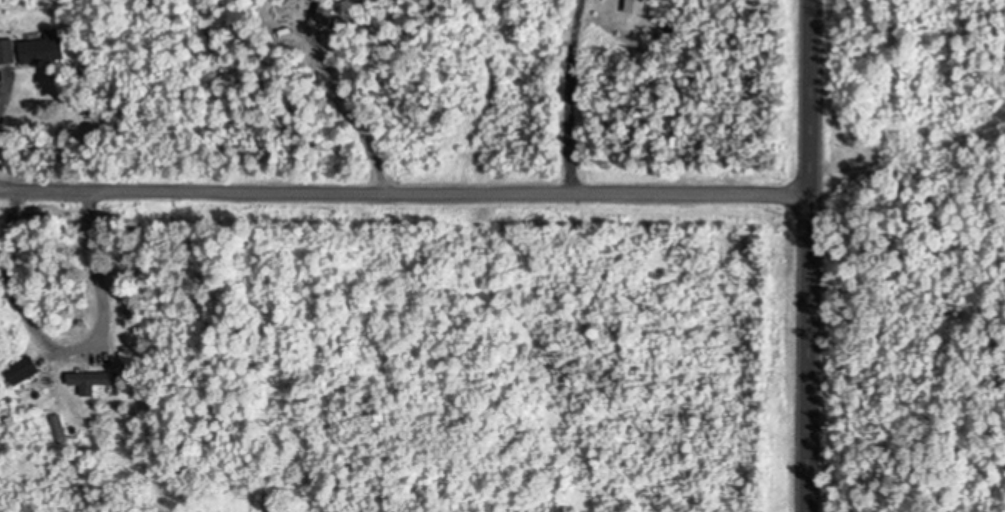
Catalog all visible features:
building: (330, 2)
building: (634, 6)
building: (325, 16)
building: (44, 48)
building: (7, 51)
road: (3, 95)
road: (567, 96)
building: (91, 104)
road: (359, 129)
road: (403, 194)
road: (806, 256)
road: (63, 350)
building: (23, 370)
building: (92, 378)
building: (57, 424)
building: (70, 424)

